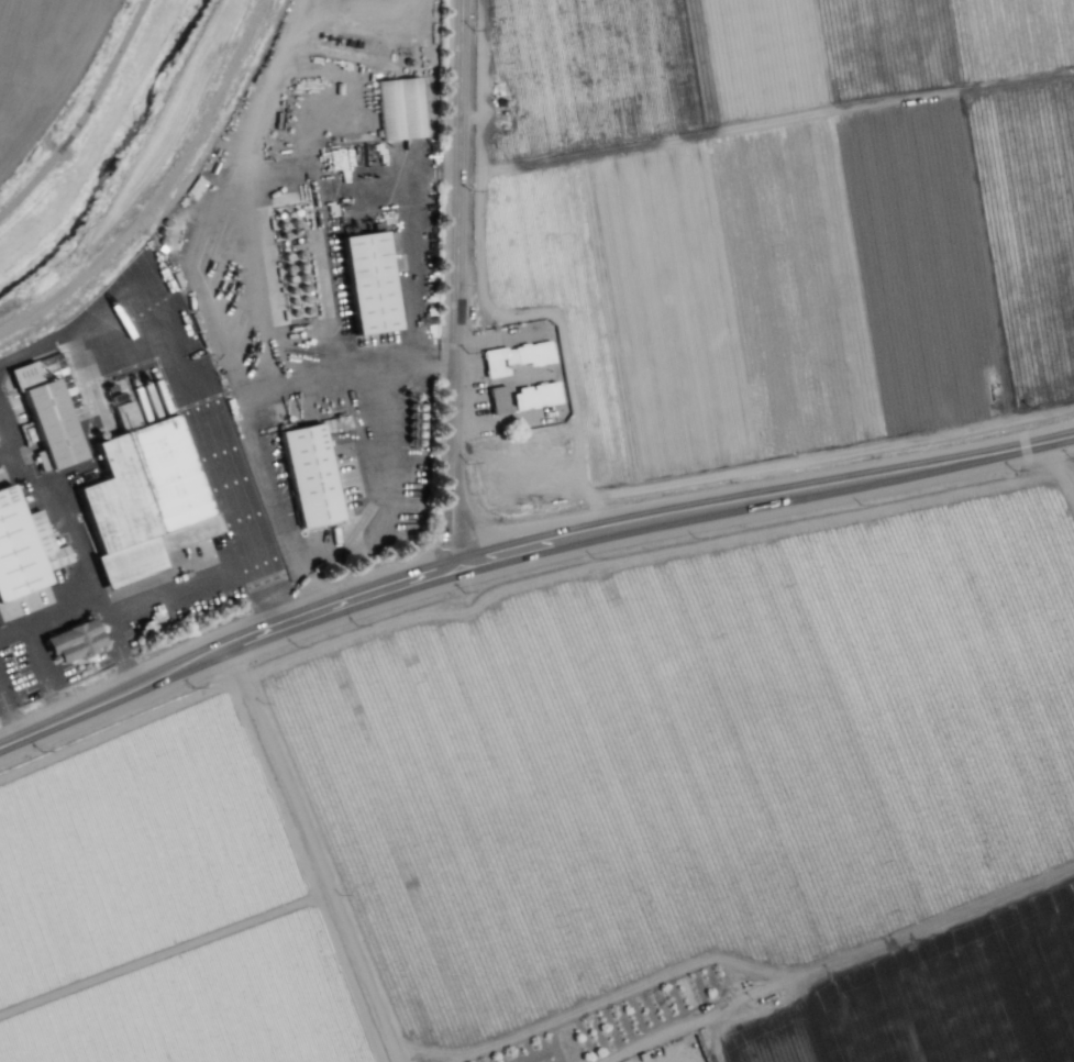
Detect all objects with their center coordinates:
crop: (38, 59)
building: (399, 108)
road: (81, 113)
crop: (60, 237)
road: (458, 284)
building: (368, 286)
building: (513, 356)
building: (24, 374)
road: (196, 387)
building: (534, 396)
building: (497, 399)
road: (247, 406)
building: (51, 422)
building: (314, 477)
road: (387, 489)
building: (150, 516)
road: (79, 541)
building: (24, 547)
road: (523, 553)
crop: (647, 602)
building: (71, 640)
road: (31, 642)
road: (315, 861)

